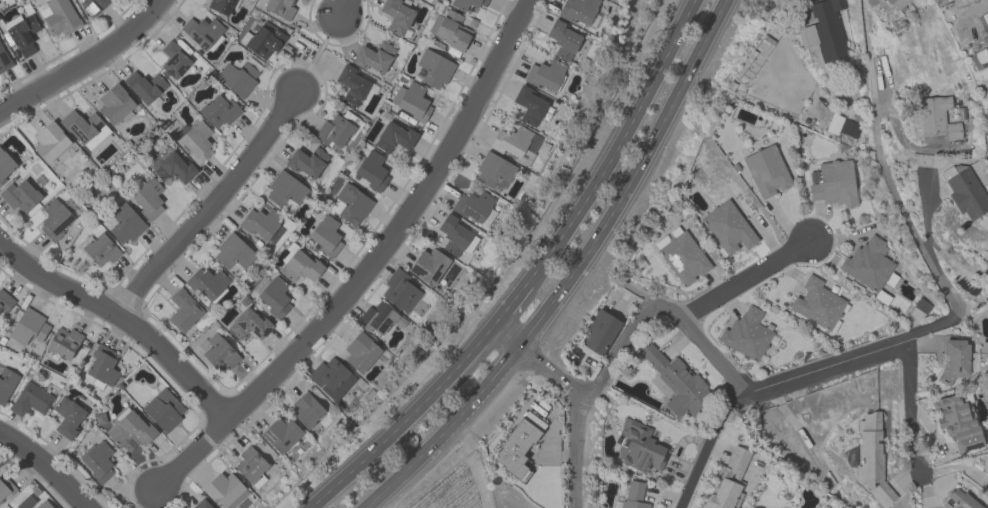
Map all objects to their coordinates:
building: (466, 3)
building: (895, 3)
building: (92, 5)
building: (220, 5)
road: (346, 6)
building: (280, 7)
building: (577, 10)
building: (396, 15)
building: (58, 16)
building: (984, 26)
building: (450, 29)
building: (201, 30)
building: (823, 32)
building: (23, 34)
building: (262, 39)
building: (563, 39)
building: (373, 56)
building: (979, 58)
building: (173, 59)
building: (4, 60)
road: (89, 62)
building: (434, 67)
building: (546, 74)
building: (237, 78)
building: (351, 84)
building: (144, 85)
building: (411, 100)
building: (987, 100)
building: (114, 103)
building: (529, 105)
building: (219, 110)
building: (936, 118)
building: (84, 128)
building: (336, 128)
building: (849, 128)
building: (394, 136)
building: (194, 139)
building: (49, 141)
building: (513, 143)
road: (610, 143)
building: (307, 161)
building: (5, 165)
building: (173, 168)
road: (884, 169)
building: (371, 170)
building: (766, 170)
building: (493, 171)
building: (834, 183)
building: (285, 188)
building: (967, 188)
building: (20, 195)
building: (148, 197)
building: (352, 203)
building: (475, 206)
road: (208, 208)
road: (926, 213)
building: (54, 219)
building: (124, 222)
building: (260, 222)
building: (728, 226)
building: (325, 235)
building: (455, 235)
building: (100, 249)
building: (232, 251)
building: (682, 255)
building: (867, 263)
building: (298, 264)
road: (370, 265)
building: (428, 265)
road: (572, 274)
road: (745, 279)
building: (207, 283)
building: (399, 290)
building: (272, 295)
building: (5, 301)
building: (817, 303)
road: (509, 304)
building: (183, 310)
building: (379, 317)
road: (125, 319)
building: (249, 323)
building: (28, 326)
building: (599, 331)
building: (747, 334)
road: (626, 335)
building: (63, 342)
building: (360, 352)
building: (218, 353)
road: (846, 353)
road: (713, 357)
building: (953, 358)
building: (101, 366)
road: (825, 373)
building: (331, 377)
building: (6, 382)
building: (676, 383)
road: (585, 396)
building: (30, 399)
building: (163, 409)
building: (306, 409)
road: (909, 409)
building: (67, 417)
road: (404, 422)
building: (957, 422)
road: (929, 426)
building: (129, 429)
building: (280, 433)
road: (705, 444)
building: (518, 445)
building: (641, 448)
building: (872, 459)
building: (97, 460)
road: (48, 462)
building: (251, 466)
road: (955, 466)
building: (727, 480)
building: (5, 487)
building: (225, 490)
road: (924, 490)
building: (633, 495)
building: (959, 499)
building: (32, 503)
building: (201, 504)

